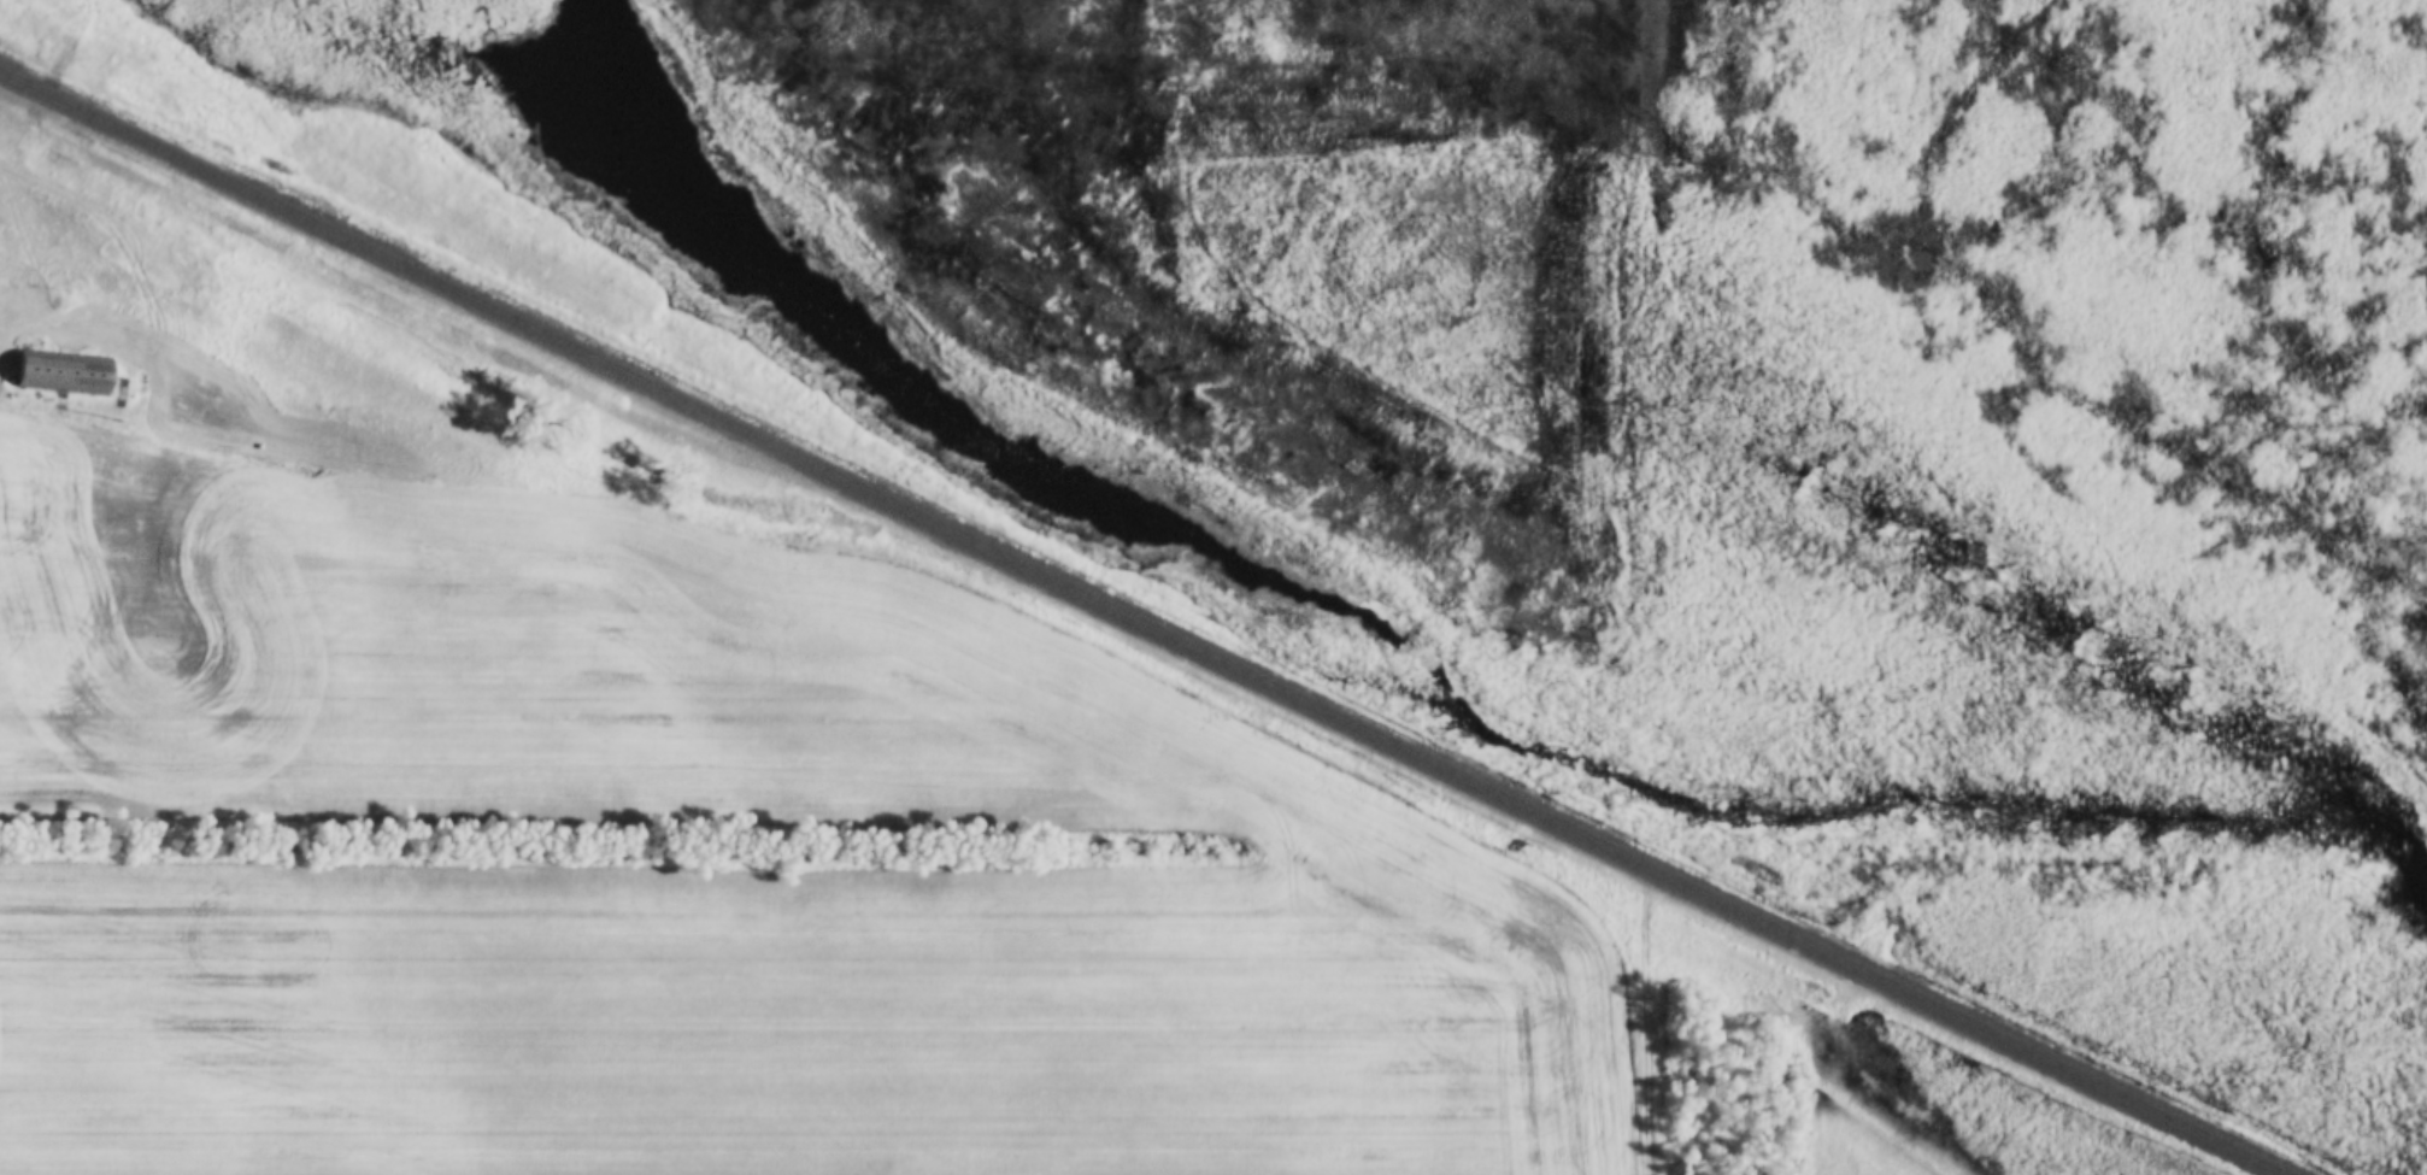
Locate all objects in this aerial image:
road: (16, 145)
building: (61, 375)
railway: (1139, 624)
river: (1405, 682)
road: (1651, 1046)

